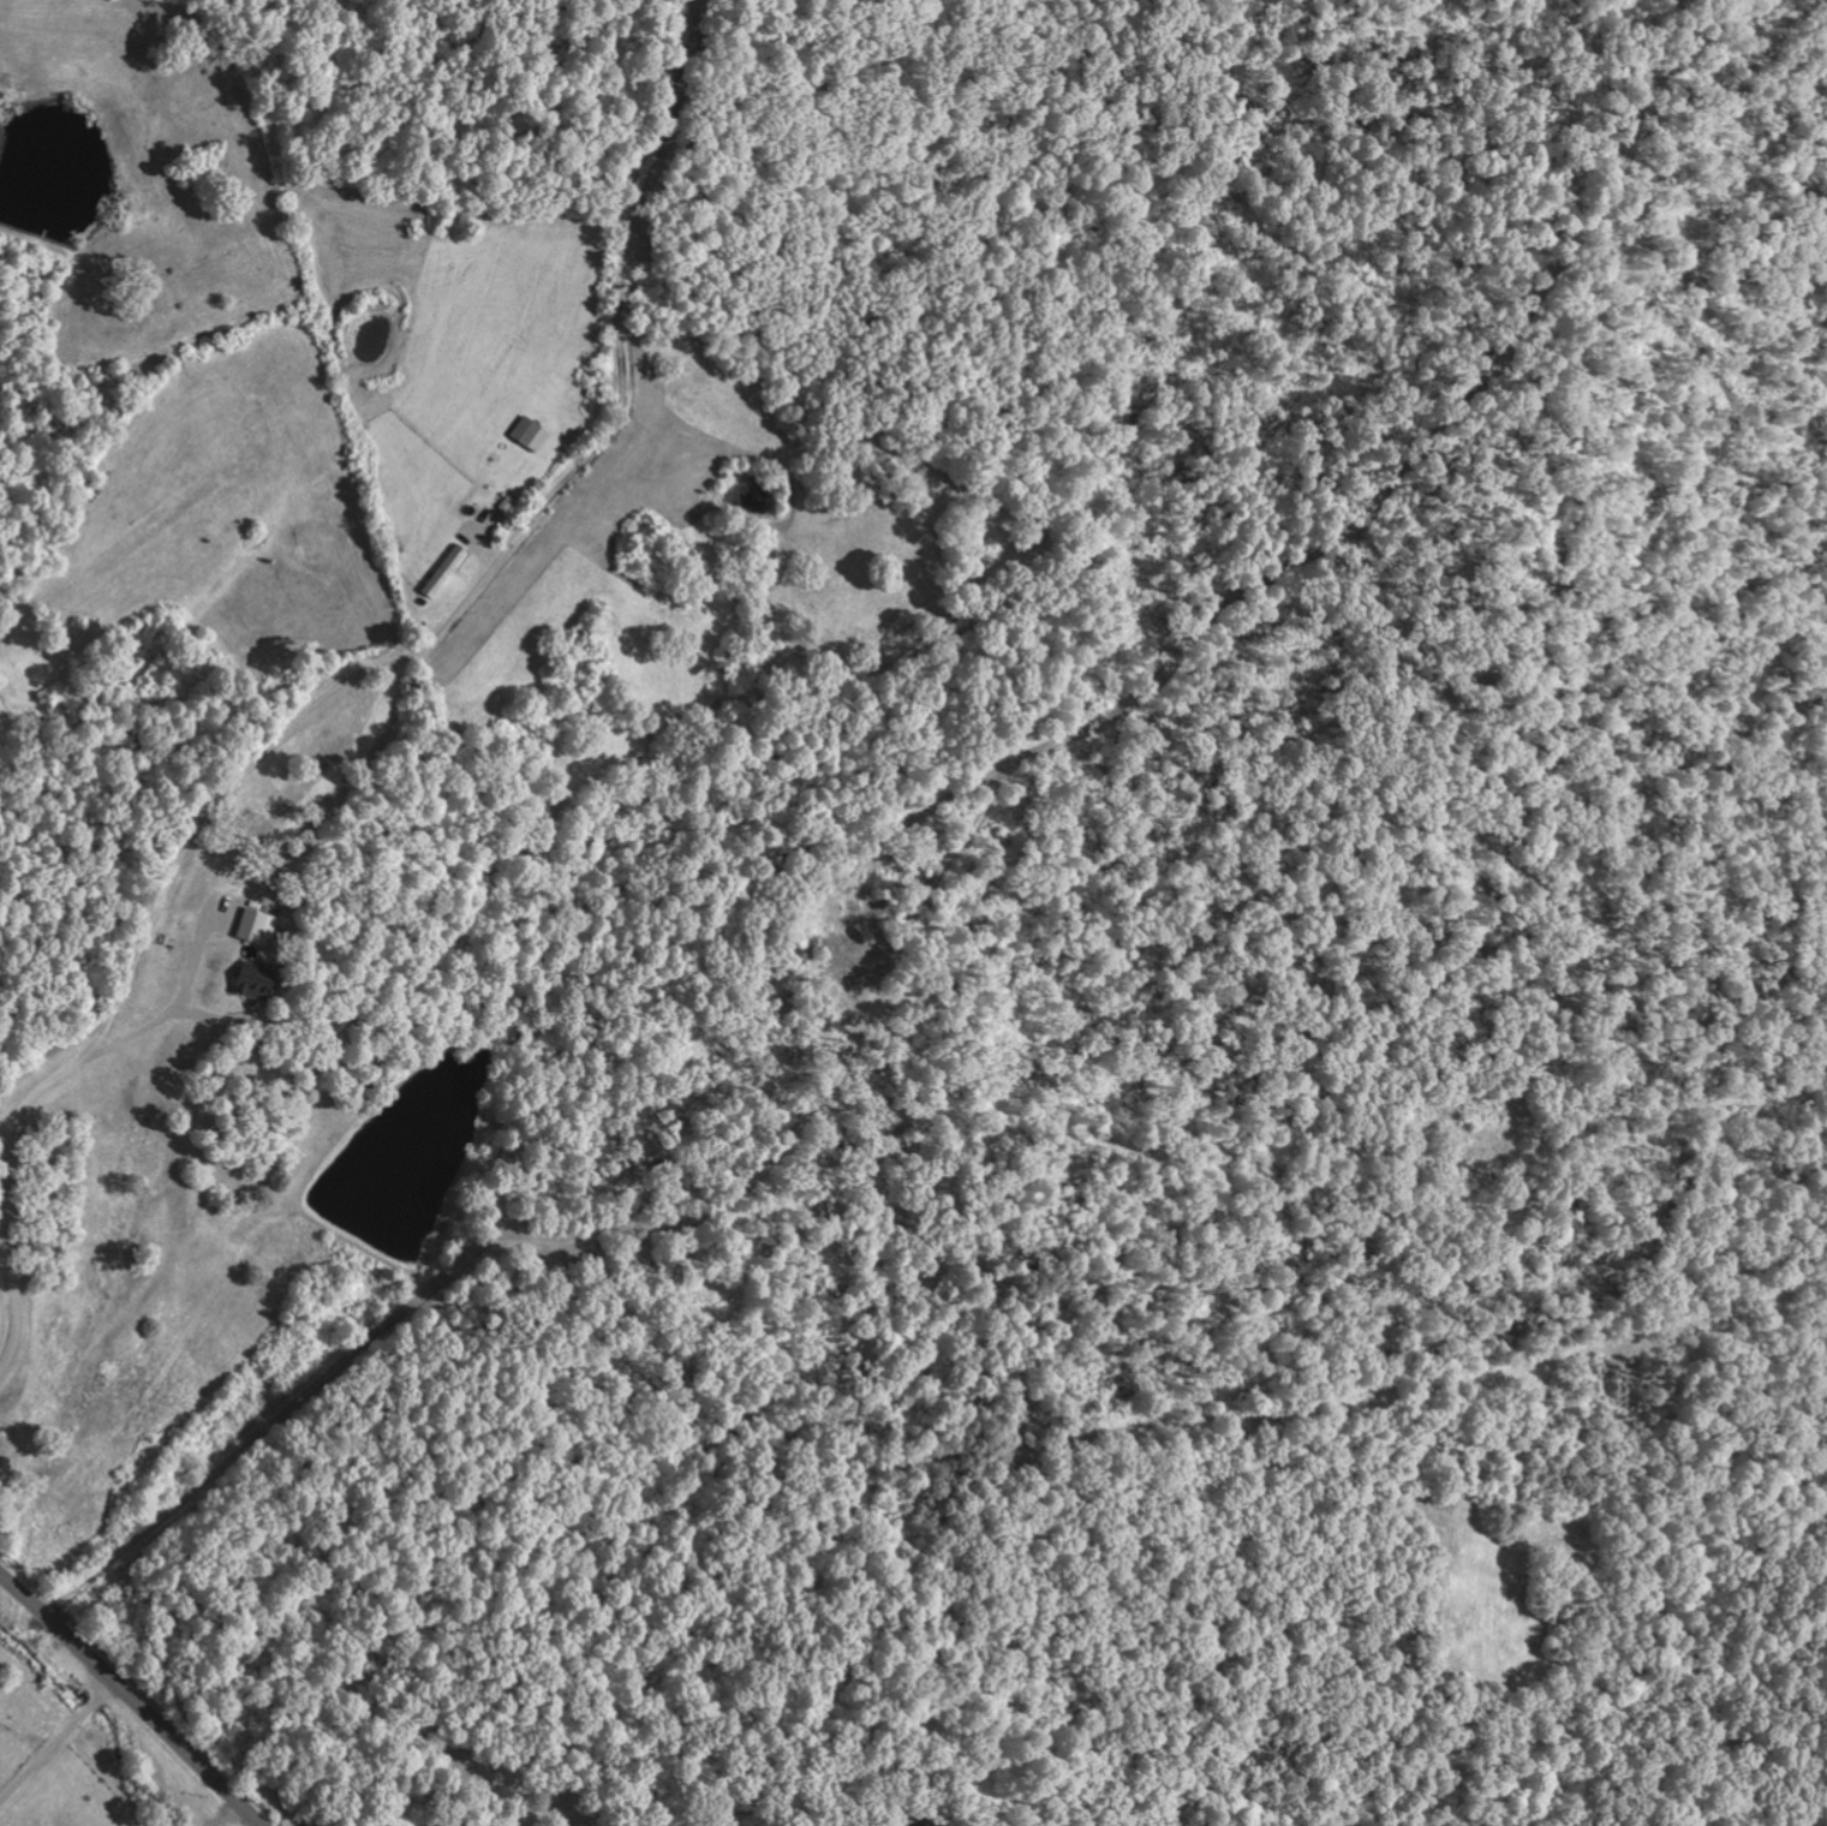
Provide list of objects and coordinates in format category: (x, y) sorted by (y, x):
building: (531, 434)
road: (959, 473)
road: (336, 674)
building: (257, 926)
building: (256, 981)
road: (135, 1696)
road: (1083, 1705)
road: (60, 1746)
building: (938, 1822)

